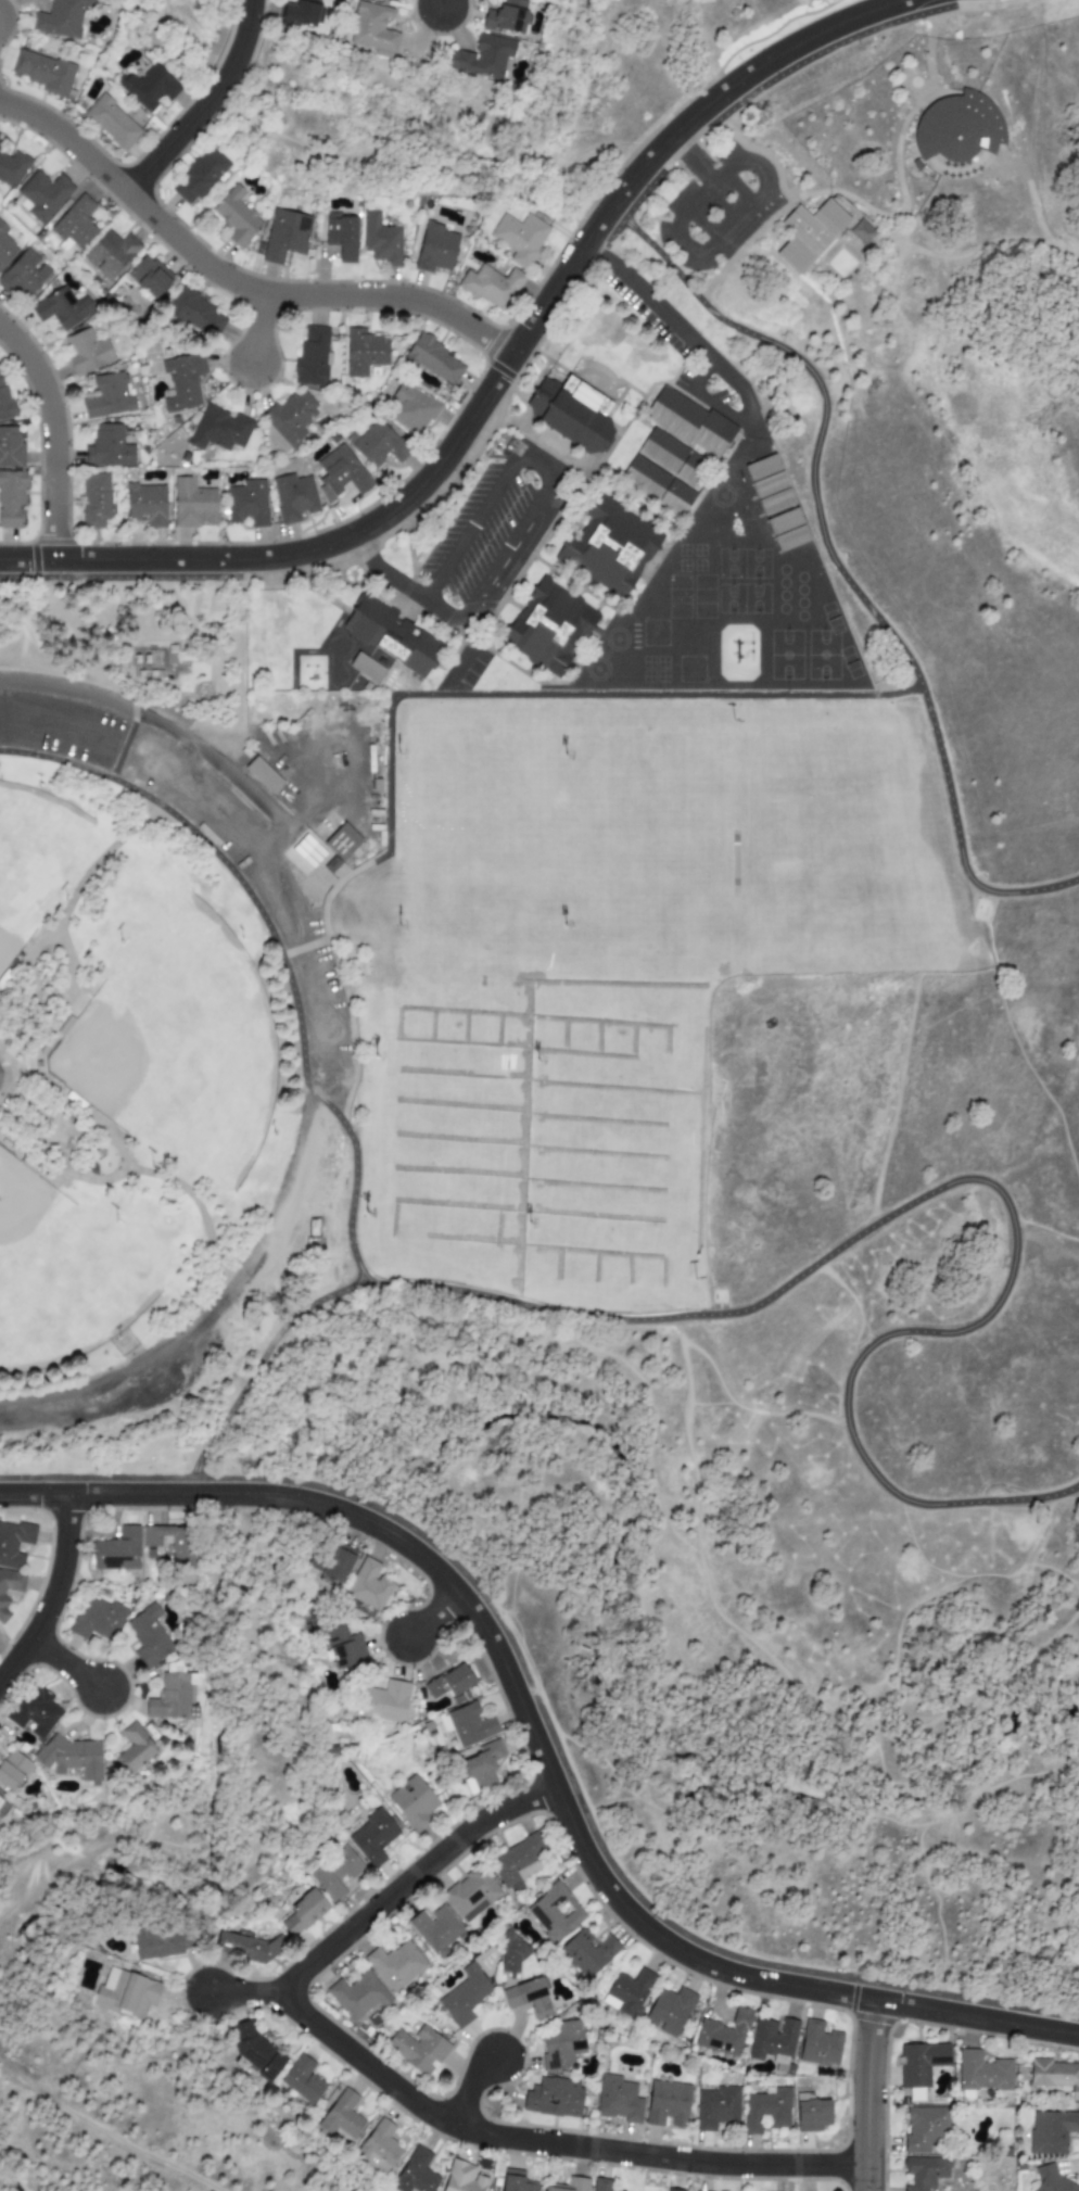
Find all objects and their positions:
building: (394, 0)
road: (450, 4)
road: (988, 5)
building: (299, 13)
building: (508, 16)
building: (60, 17)
building: (372, 27)
road: (930, 37)
road: (177, 41)
building: (482, 56)
flagpole: (923, 59)
building: (41, 71)
road: (738, 80)
road: (769, 83)
building: (148, 87)
road: (210, 104)
road: (929, 105)
building: (137, 117)
building: (112, 123)
building: (959, 128)
road: (757, 151)
road: (402, 165)
building: (916, 165)
building: (12, 168)
road: (722, 172)
building: (199, 176)
road: (941, 177)
building: (41, 195)
road: (785, 199)
road: (1034, 205)
road: (903, 208)
building: (236, 216)
building: (74, 225)
building: (863, 232)
building: (811, 233)
building: (342, 236)
building: (285, 237)
building: (520, 238)
building: (381, 240)
building: (5, 246)
road: (1062, 246)
building: (435, 249)
road: (694, 249)
building: (111, 254)
road: (596, 255)
road: (960, 256)
road: (817, 267)
road: (897, 269)
building: (23, 276)
building: (150, 277)
road: (234, 280)
street lamp: (402, 281)
road: (559, 281)
building: (491, 287)
street lamp: (232, 301)
building: (60, 309)
building: (194, 312)
road: (258, 328)
road: (693, 343)
building: (87, 352)
building: (364, 352)
building: (312, 357)
building: (434, 360)
building: (182, 382)
building: (109, 396)
building: (3, 398)
road: (710, 402)
building: (410, 409)
building: (577, 409)
building: (291, 418)
building: (695, 421)
building: (220, 430)
road: (52, 432)
building: (377, 444)
building: (109, 447)
building: (11, 448)
road: (445, 455)
building: (676, 456)
building: (341, 473)
road: (551, 479)
building: (661, 485)
building: (770, 485)
building: (11, 498)
building: (294, 498)
building: (94, 501)
building: (193, 504)
building: (247, 504)
building: (147, 505)
street lamp: (331, 523)
building: (787, 530)
street lamp: (168, 541)
building: (613, 545)
road: (300, 554)
road: (27, 560)
road: (148, 560)
road: (836, 562)
road: (384, 573)
road: (128, 578)
building: (553, 626)
building: (395, 634)
building: (366, 668)
road: (570, 697)
road: (63, 730)
road: (193, 745)
road: (116, 765)
building: (263, 775)
building: (341, 841)
parking lot: (205, 844)
building: (308, 851)
park: (30, 852)
road: (288, 856)
road: (285, 890)
road: (307, 948)
road: (283, 957)
road: (26, 967)
road: (346, 985)
park: (636, 1024)
park: (164, 1042)
road: (5, 1052)
building: (0, 1065)
road: (5, 1093)
road: (59, 1122)
road: (986, 1181)
road: (199, 1208)
park: (60, 1275)
road: (211, 1314)
road: (266, 1352)
road: (99, 1479)
road: (33, 1494)
building: (181, 1542)
building: (13, 1543)
building: (117, 1550)
building: (337, 1565)
building: (368, 1585)
building: (10, 1587)
road: (54, 1594)
road: (432, 1614)
building: (98, 1619)
building: (148, 1636)
building: (343, 1647)
road: (65, 1664)
building: (450, 1682)
road: (511, 1683)
building: (173, 1697)
building: (384, 1701)
road: (542, 1709)
building: (35, 1711)
building: (470, 1724)
building: (134, 1749)
building: (72, 1758)
building: (483, 1766)
building: (13, 1770)
road: (254, 1795)
building: (0, 1800)
building: (412, 1802)
building: (372, 1837)
building: (517, 1863)
building: (335, 1873)
road: (411, 1878)
building: (471, 1894)
building: (555, 1912)
building: (303, 1913)
building: (435, 1928)
building: (157, 1942)
building: (245, 1948)
building: (512, 1952)
building: (587, 1952)
building: (396, 1964)
building: (630, 1990)
building: (126, 1993)
road: (249, 1993)
building: (358, 1994)
building: (465, 1996)
building: (529, 1998)
road: (967, 2000)
building: (669, 2011)
road: (978, 2017)
building: (724, 2034)
building: (772, 2040)
building: (562, 2044)
building: (818, 2044)
building: (418, 2049)
building: (256, 2051)
building: (921, 2062)
building: (982, 2073)
building: (1054, 2075)
street lamp: (846, 2077)
building: (303, 2080)
road: (469, 2088)
building: (915, 2094)
road: (866, 2095)
building: (554, 2098)
building: (618, 2099)
building: (667, 2104)
building: (716, 2107)
building: (766, 2111)
building: (811, 2113)
building: (342, 2115)
building: (925, 2129)
building: (1051, 2131)
road: (101, 2132)
road: (553, 2143)
building: (379, 2148)
building: (925, 2171)
building: (416, 2173)
building: (462, 2178)
building: (516, 2181)
building: (1051, 2181)
building: (599, 2184)
building: (569, 2186)
building: (496, 2190)
building: (674, 2190)

